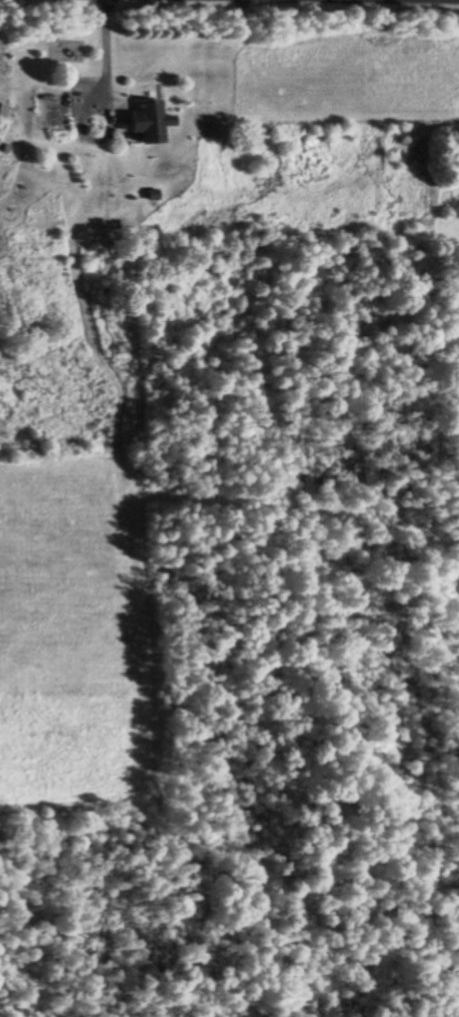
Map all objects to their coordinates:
building: (151, 122)

